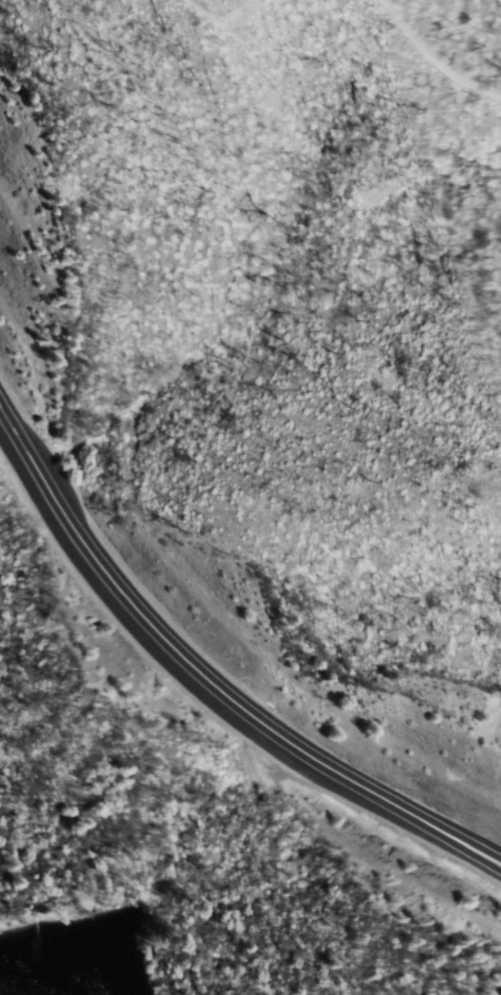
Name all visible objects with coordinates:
road: (211, 669)

